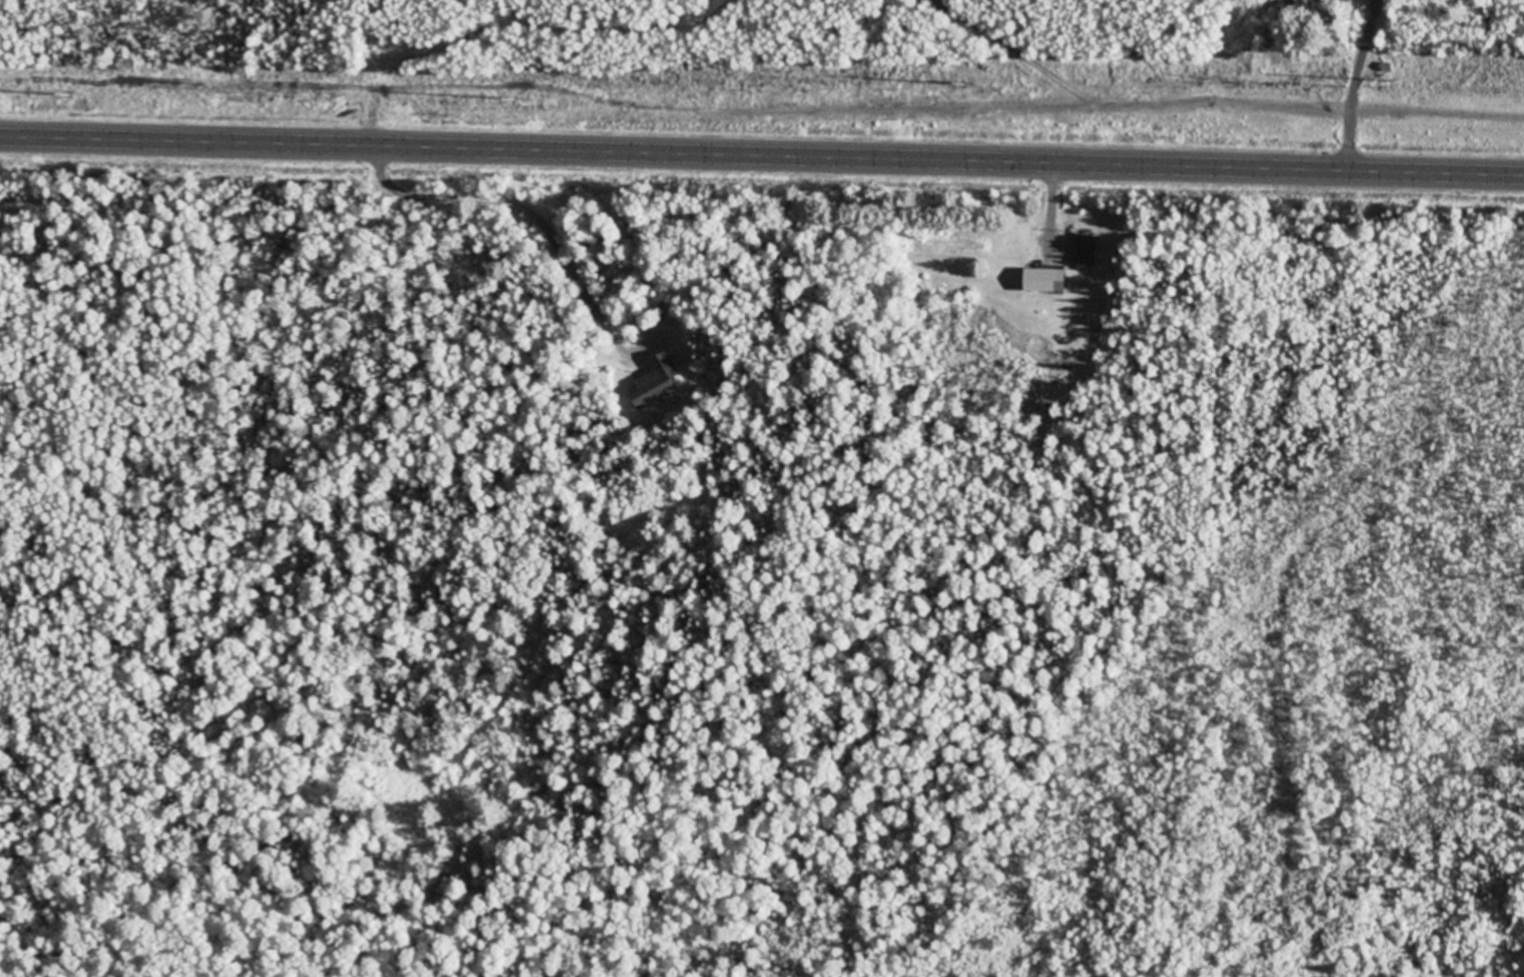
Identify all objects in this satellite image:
road: (762, 157)
building: (1086, 251)
building: (1043, 282)
building: (656, 384)

